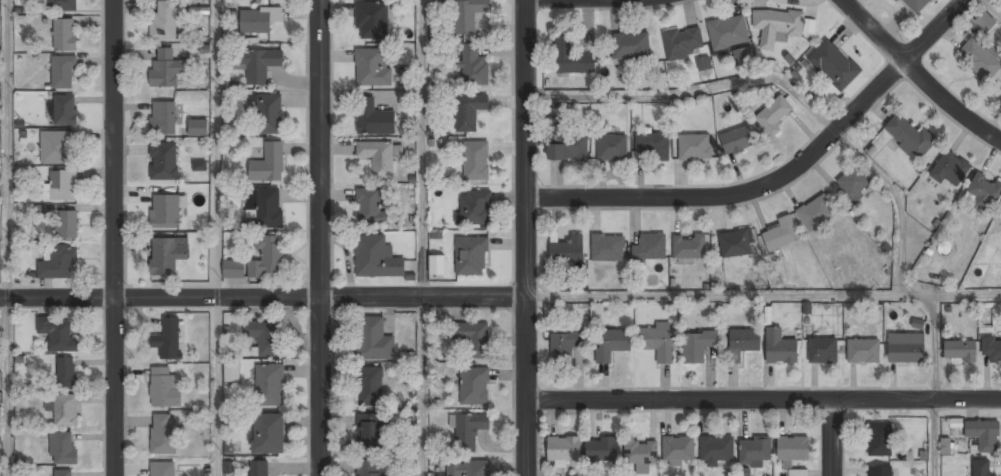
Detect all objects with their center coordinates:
building: (895, 0)
building: (59, 5)
building: (914, 6)
road: (993, 6)
building: (468, 15)
building: (984, 20)
building: (258, 21)
building: (372, 21)
building: (164, 22)
building: (777, 27)
building: (727, 33)
building: (64, 35)
building: (682, 43)
building: (630, 46)
building: (741, 56)
building: (571, 58)
building: (981, 59)
building: (703, 63)
building: (257, 64)
building: (473, 66)
building: (372, 67)
building: (834, 67)
building: (166, 69)
building: (63, 73)
road: (918, 75)
road: (781, 82)
building: (469, 109)
building: (65, 110)
building: (269, 115)
building: (774, 115)
building: (163, 119)
building: (373, 119)
building: (198, 128)
building: (908, 137)
building: (737, 139)
building: (652, 146)
building: (694, 147)
building: (56, 148)
building: (567, 148)
building: (612, 148)
building: (377, 158)
building: (164, 162)
building: (475, 162)
building: (268, 164)
building: (199, 165)
building: (951, 170)
road: (777, 177)
building: (853, 185)
building: (61, 186)
building: (984, 190)
building: (369, 206)
building: (265, 207)
building: (473, 209)
building: (165, 212)
building: (817, 212)
building: (1000, 214)
building: (67, 225)
building: (779, 235)
road: (216, 237)
road: (524, 237)
road: (8, 238)
road: (112, 238)
road: (319, 238)
road: (422, 238)
building: (735, 244)
building: (649, 248)
building: (689, 248)
building: (565, 249)
building: (607, 249)
building: (166, 256)
building: (471, 256)
building: (267, 258)
building: (376, 258)
building: (58, 264)
building: (437, 266)
building: (233, 269)
road: (762, 295)
road: (262, 298)
building: (58, 335)
building: (264, 338)
building: (473, 338)
building: (168, 340)
building: (373, 340)
building: (744, 341)
building: (658, 342)
building: (611, 344)
building: (562, 346)
building: (697, 347)
building: (780, 347)
building: (906, 348)
building: (991, 349)
building: (823, 350)
building: (863, 350)
building: (959, 351)
building: (231, 371)
building: (65, 374)
building: (0, 380)
building: (473, 385)
building: (269, 386)
road: (936, 386)
building: (370, 387)
building: (165, 388)
road: (763, 401)
building: (64, 410)
building: (468, 431)
building: (370, 432)
building: (163, 434)
building: (267, 434)
building: (984, 435)
road: (833, 438)
building: (880, 439)
building: (228, 445)
building: (947, 445)
building: (62, 448)
building: (564, 449)
building: (678, 449)
building: (792, 449)
building: (602, 450)
building: (716, 450)
building: (755, 451)
building: (640, 455)
building: (259, 468)
building: (369, 468)
building: (468, 468)
building: (981, 468)
building: (163, 469)
building: (744, 471)
building: (880, 471)
building: (66, 473)
building: (798, 473)

